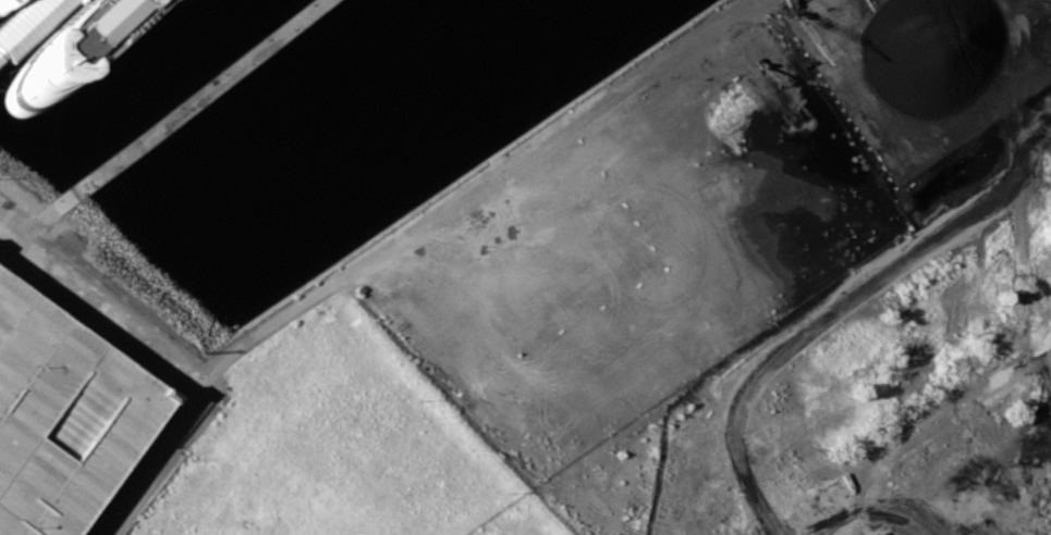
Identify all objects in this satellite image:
building: (95, 23)
pier: (29, 27)
pier: (209, 100)
road: (200, 387)
building: (61, 416)
parking garage: (61, 416)
building: (869, 534)

